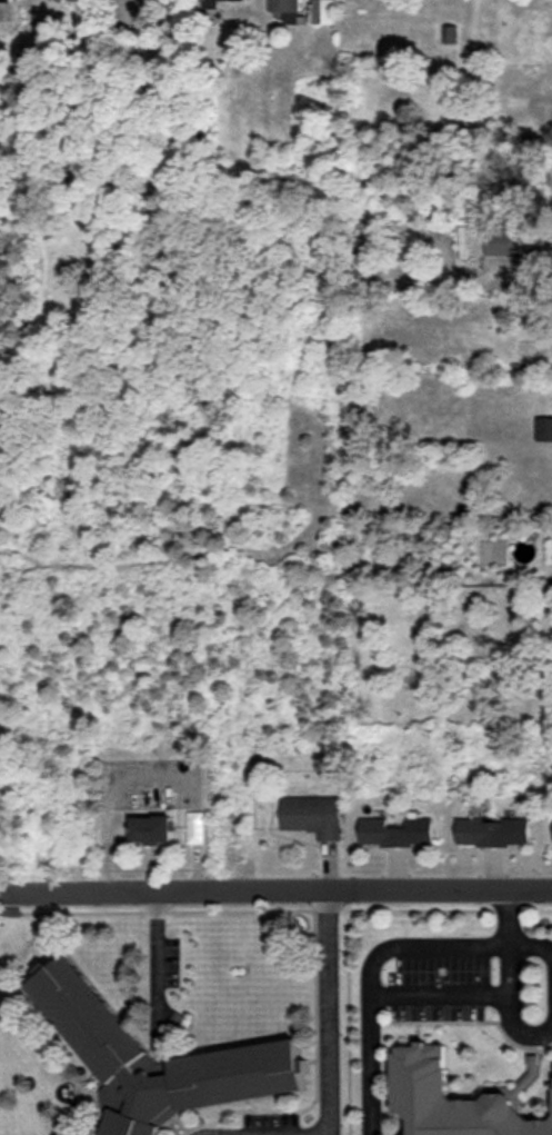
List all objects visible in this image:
building: (3, 0)
building: (211, 3)
building: (287, 10)
building: (322, 11)
building: (449, 34)
building: (504, 241)
building: (543, 429)
building: (311, 815)
building: (150, 829)
building: (395, 832)
building: (492, 832)
road: (275, 890)
road: (385, 953)
road: (531, 953)
road: (154, 968)
road: (461, 998)
road: (324, 1013)
road: (521, 1033)
building: (106, 1048)
building: (448, 1101)

